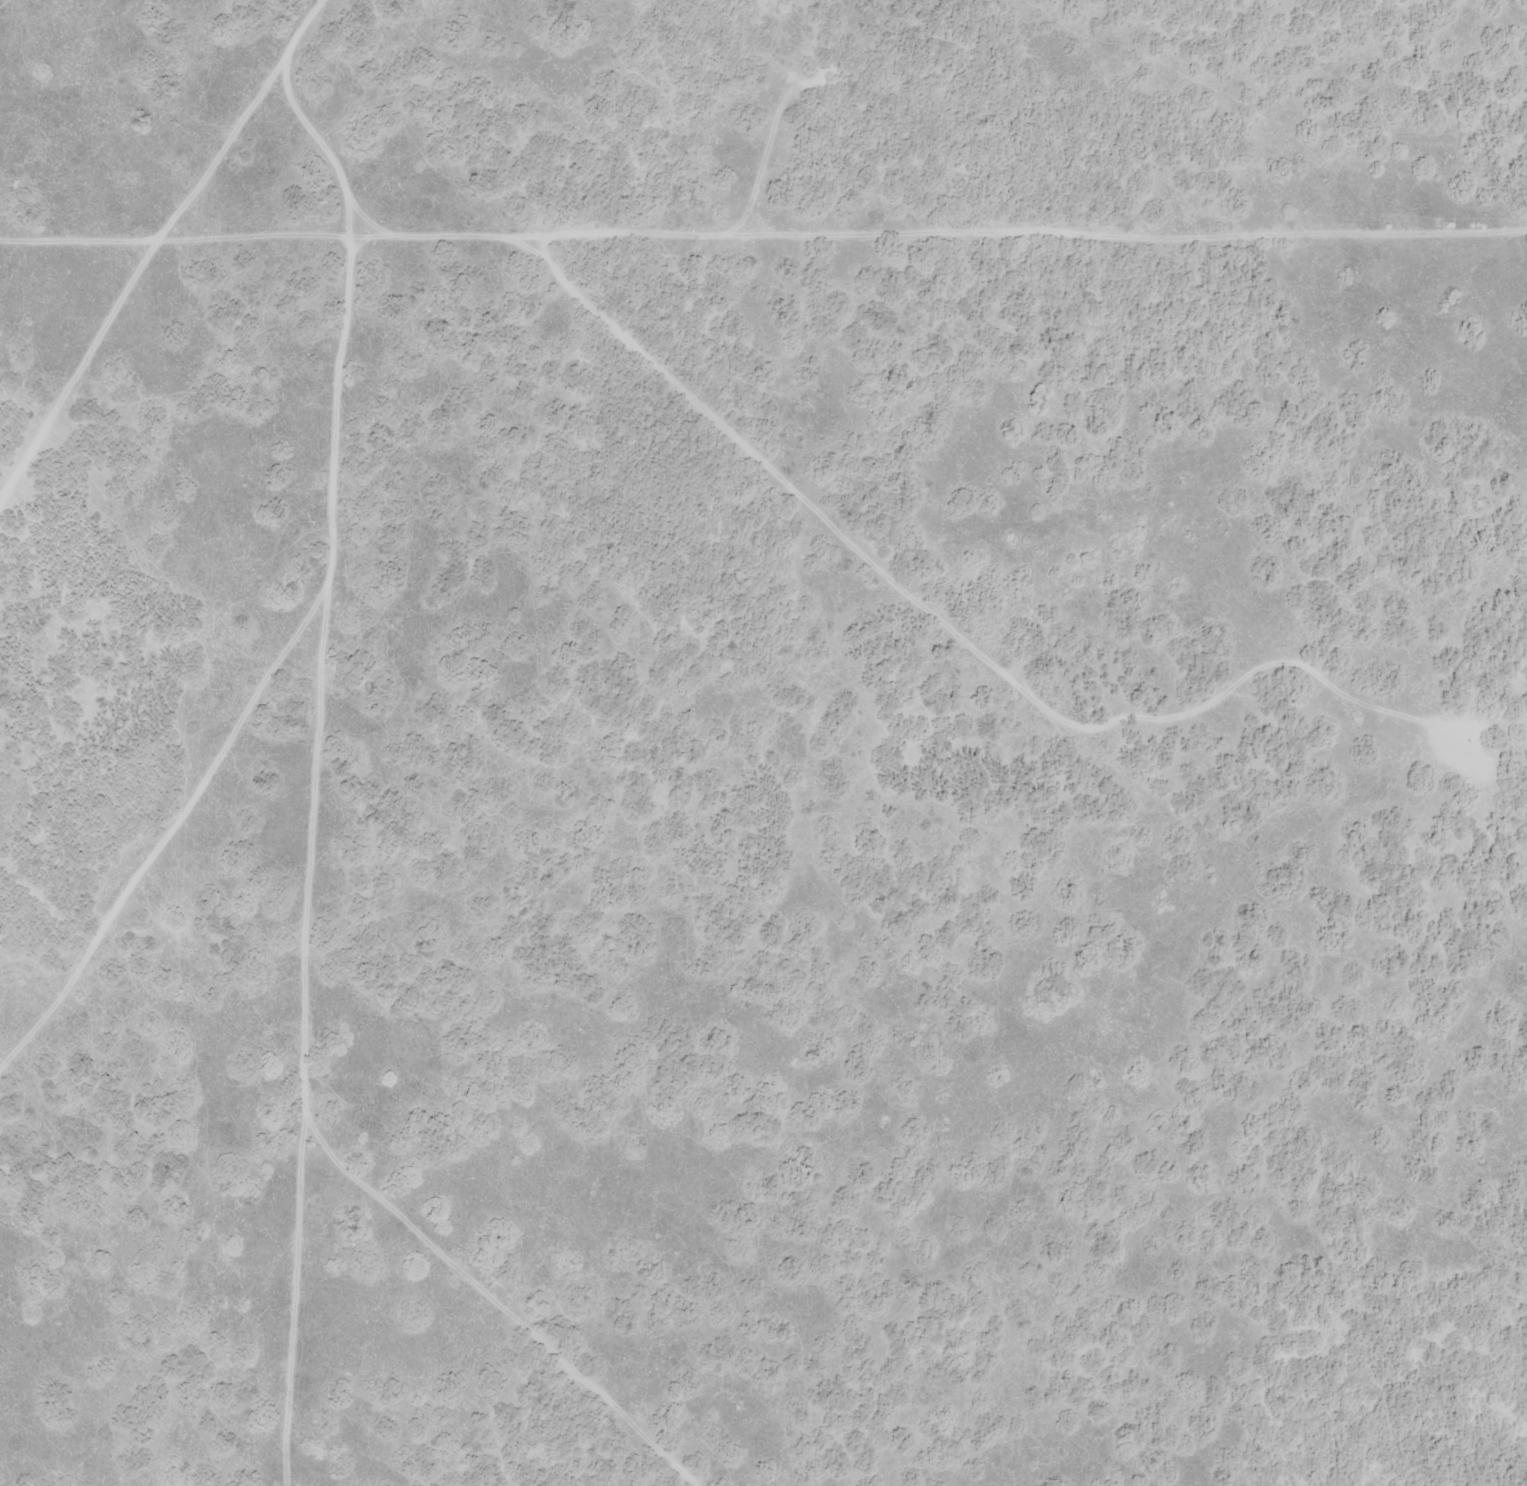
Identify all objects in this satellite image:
road: (177, 43)
road: (257, 52)
road: (311, 657)
road: (146, 896)

